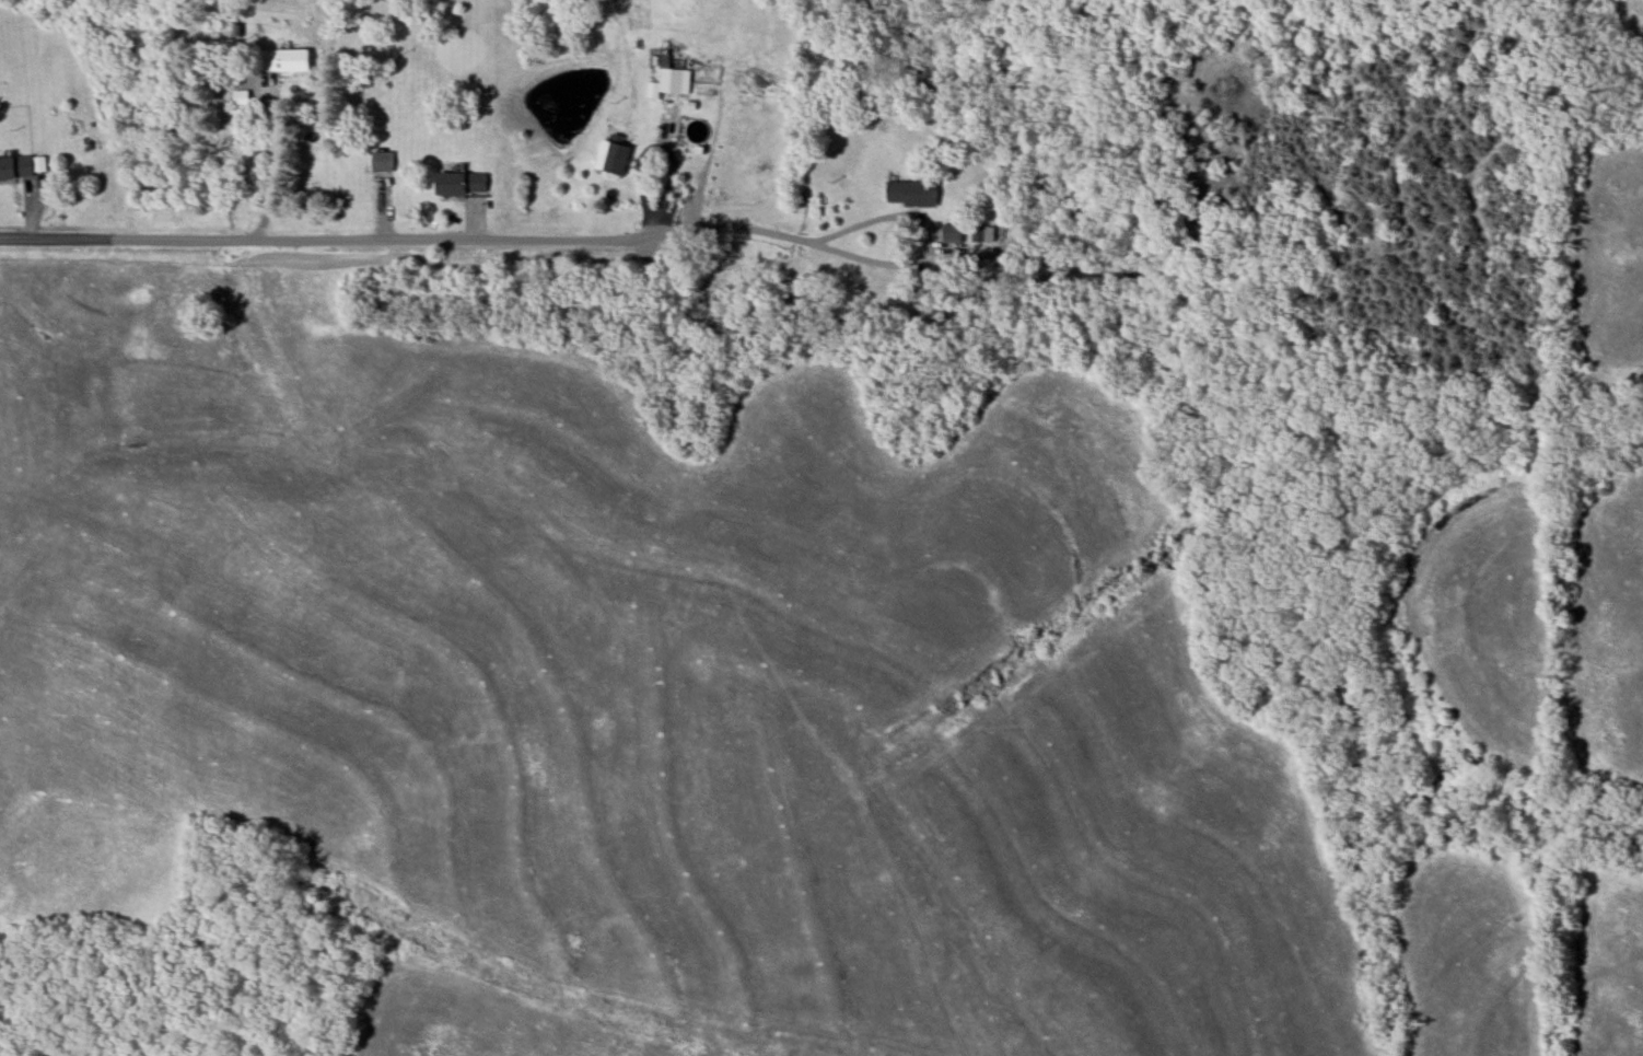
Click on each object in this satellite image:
building: (283, 60)
building: (671, 78)
road: (541, 92)
building: (616, 154)
road: (276, 159)
building: (383, 161)
building: (22, 166)
building: (462, 183)
building: (920, 194)
building: (669, 208)
road: (867, 219)
building: (977, 235)
road: (409, 241)

